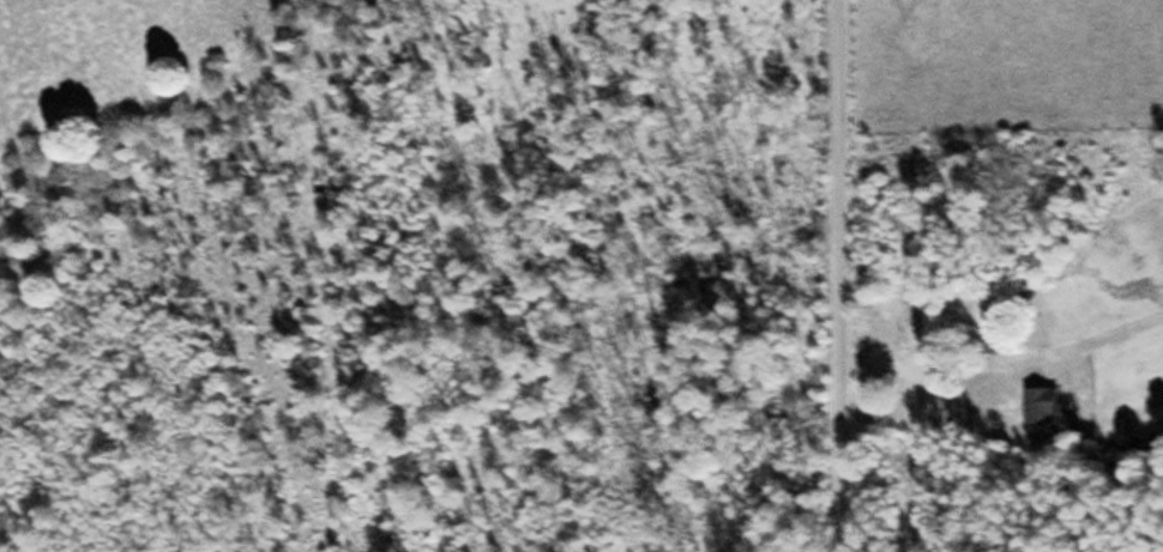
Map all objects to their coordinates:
road: (838, 275)
building: (929, 321)
building: (1037, 405)

